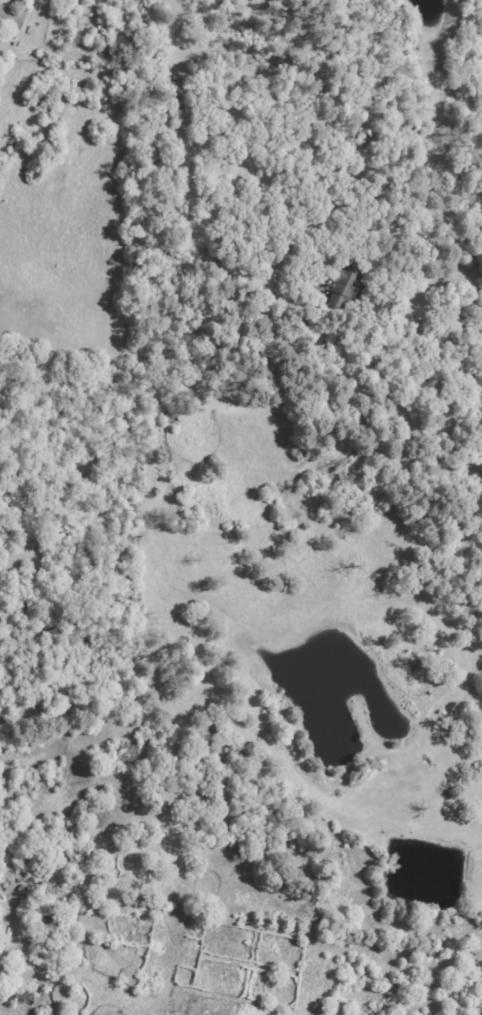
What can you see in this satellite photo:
building: (12, 17)
building: (348, 286)

